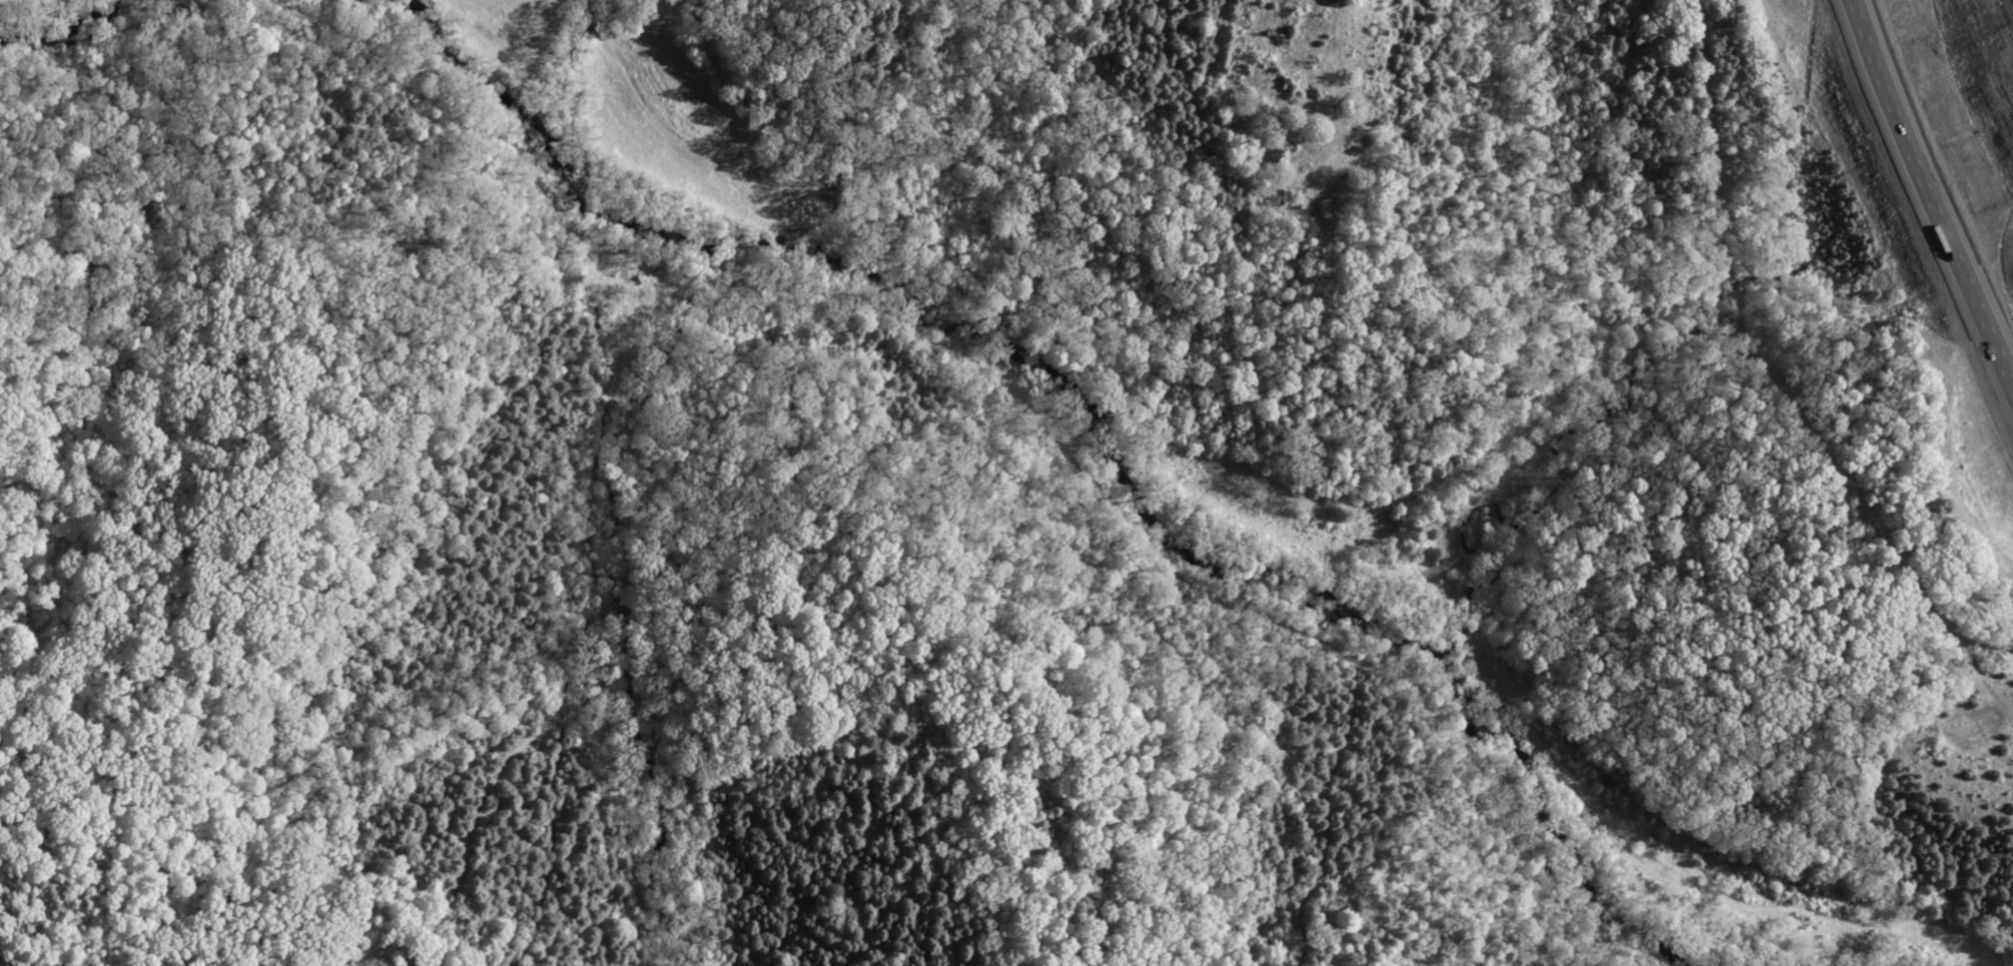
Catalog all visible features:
road: (1922, 198)

